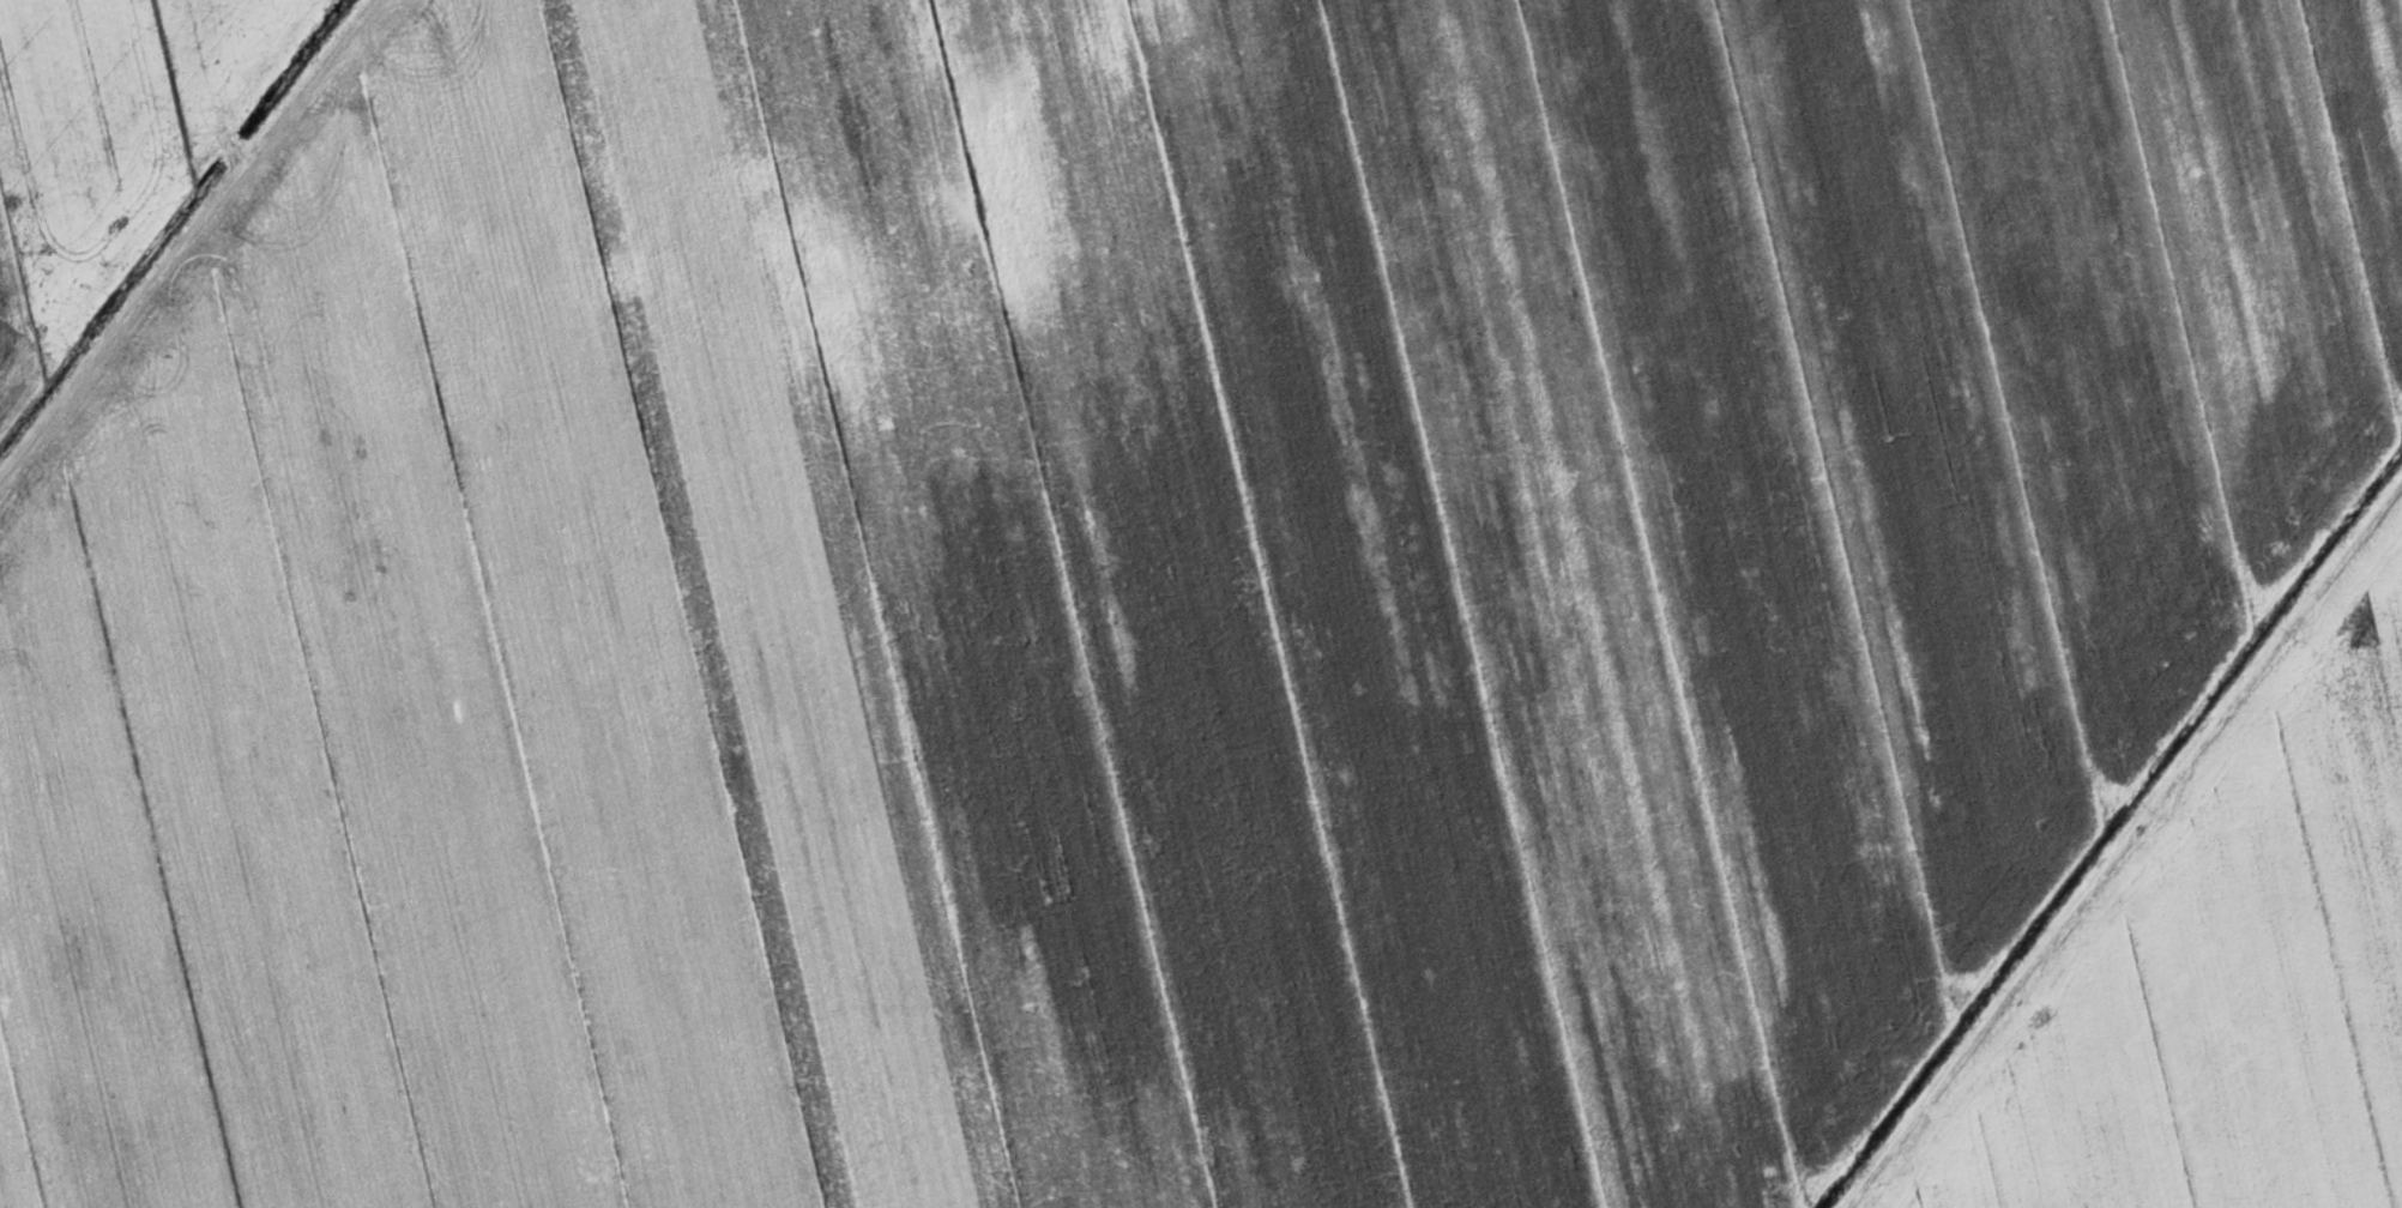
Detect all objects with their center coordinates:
crop: (107, 141)
crop: (1148, 588)
road: (2122, 841)
crop: (2219, 970)

